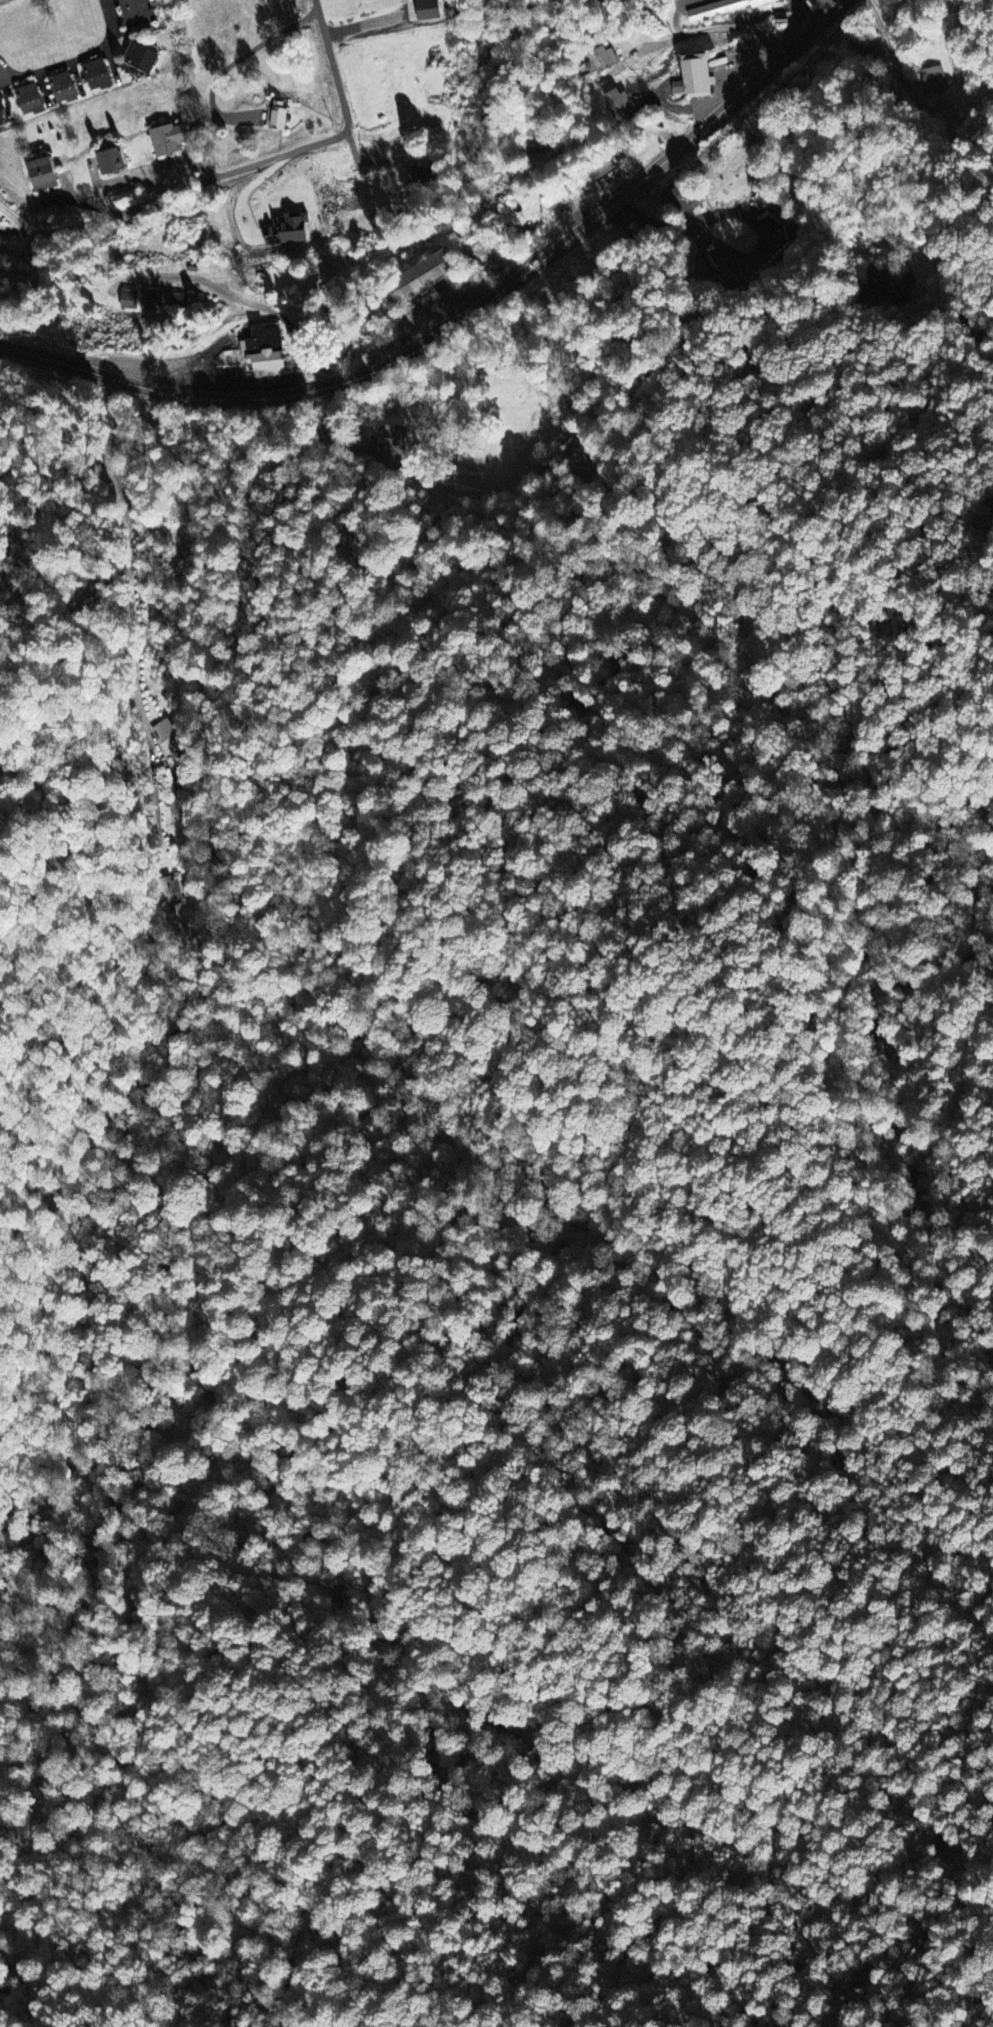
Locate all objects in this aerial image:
building: (727, 8)
building: (430, 10)
building: (139, 16)
road: (676, 16)
road: (795, 22)
road: (720, 27)
building: (142, 58)
road: (77, 59)
building: (605, 60)
building: (98, 76)
building: (699, 76)
building: (934, 81)
building: (64, 88)
building: (30, 100)
building: (618, 101)
road: (675, 107)
building: (2, 110)
building: (279, 116)
building: (166, 142)
building: (111, 162)
building: (606, 168)
road: (238, 170)
building: (43, 175)
building: (557, 198)
building: (683, 201)
road: (744, 211)
building: (419, 281)
building: (130, 300)
building: (167, 302)
road: (466, 316)
building: (266, 352)
building: (394, 440)
road: (543, 540)
road: (135, 555)
building: (169, 738)
road: (155, 789)

